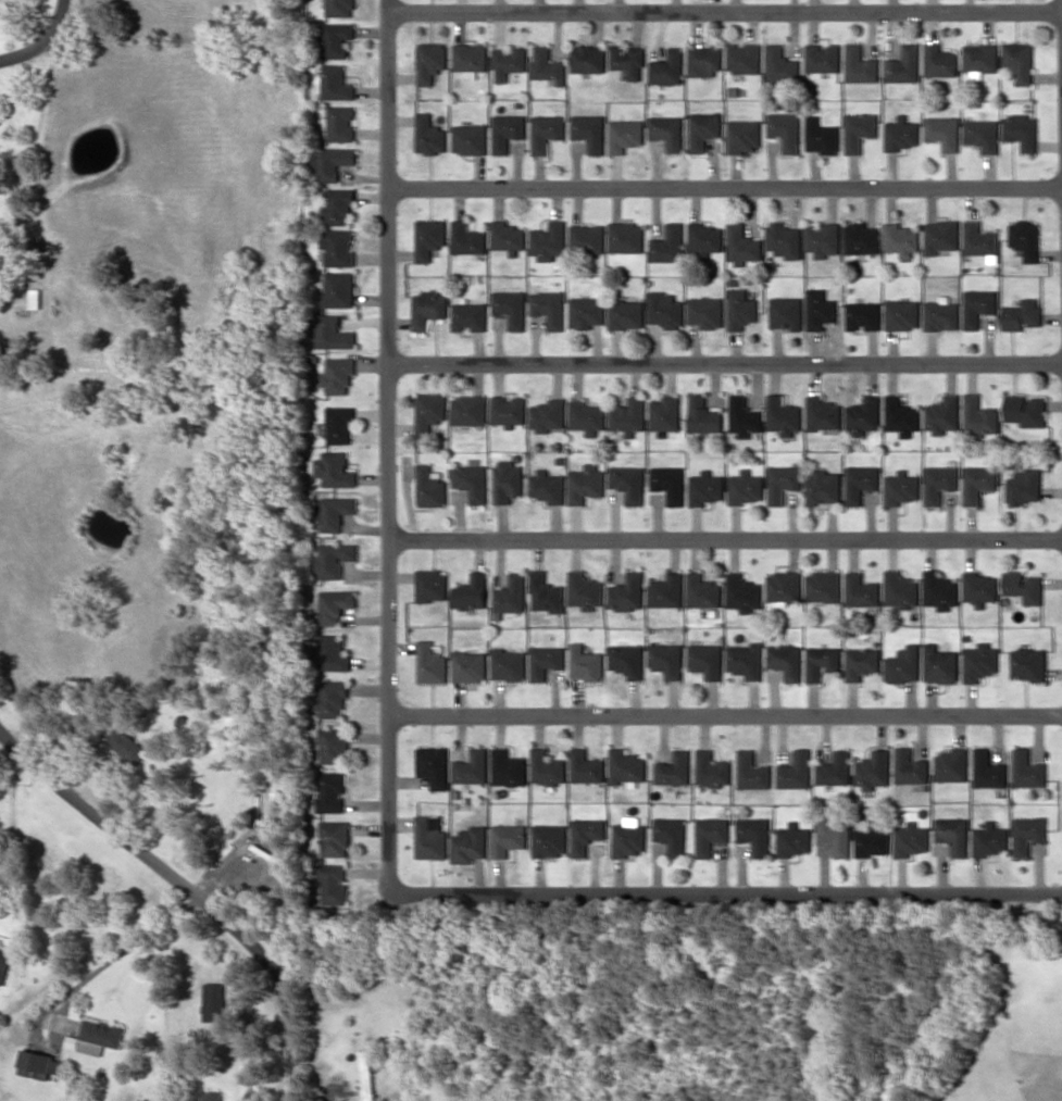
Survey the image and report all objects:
building: (339, 8)
road: (724, 11)
road: (1061, 26)
building: (336, 39)
road: (47, 42)
building: (586, 58)
building: (744, 58)
building: (823, 58)
building: (468, 59)
building: (979, 59)
building: (627, 60)
building: (703, 60)
building: (428, 61)
building: (939, 61)
building: (1019, 61)
building: (507, 62)
building: (782, 64)
building: (860, 64)
building: (903, 64)
building: (546, 65)
building: (666, 67)
building: (336, 83)
building: (340, 123)
building: (703, 129)
building: (785, 129)
building: (859, 129)
building: (505, 130)
building: (589, 130)
building: (667, 130)
building: (1021, 130)
building: (545, 132)
building: (942, 132)
building: (901, 133)
building: (982, 134)
building: (428, 135)
building: (625, 135)
building: (744, 135)
building: (821, 136)
building: (468, 138)
building: (330, 163)
road: (724, 187)
building: (338, 205)
building: (939, 236)
building: (507, 237)
building: (625, 237)
building: (428, 238)
building: (466, 238)
building: (704, 238)
building: (860, 238)
building: (978, 238)
building: (1025, 238)
building: (587, 239)
building: (783, 239)
building: (822, 239)
building: (900, 239)
building: (548, 240)
building: (741, 242)
building: (667, 243)
building: (339, 247)
building: (339, 289)
building: (977, 305)
building: (510, 308)
building: (549, 308)
building: (427, 309)
building: (740, 309)
building: (819, 309)
building: (665, 310)
building: (705, 311)
building: (586, 312)
building: (785, 312)
building: (626, 314)
building: (901, 314)
building: (940, 314)
building: (1022, 314)
building: (468, 315)
building: (862, 315)
building: (333, 333)
road: (725, 362)
building: (338, 375)
building: (508, 409)
building: (468, 410)
building: (1025, 410)
building: (429, 412)
building: (664, 413)
building: (822, 413)
building: (941, 414)
building: (548, 415)
building: (627, 415)
building: (702, 415)
building: (782, 415)
building: (862, 415)
building: (900, 415)
building: (977, 415)
building: (586, 416)
building: (744, 416)
building: (339, 424)
road: (388, 445)
building: (334, 470)
building: (508, 480)
building: (471, 481)
building: (860, 481)
building: (627, 483)
building: (669, 483)
building: (782, 483)
building: (938, 483)
building: (977, 483)
building: (585, 484)
building: (429, 487)
building: (547, 487)
building: (745, 487)
building: (823, 487)
building: (900, 487)
building: (1023, 487)
building: (704, 488)
building: (333, 512)
road: (725, 539)
building: (333, 559)
building: (430, 585)
building: (822, 586)
building: (1023, 586)
building: (784, 587)
building: (978, 588)
building: (900, 589)
building: (585, 590)
building: (702, 590)
building: (860, 590)
building: (939, 590)
building: (473, 591)
building: (666, 591)
building: (627, 592)
building: (742, 592)
building: (511, 593)
building: (546, 593)
building: (334, 605)
building: (332, 653)
building: (667, 659)
building: (627, 660)
building: (707, 660)
building: (745, 660)
building: (786, 660)
building: (546, 661)
building: (822, 662)
building: (861, 662)
building: (979, 662)
building: (430, 663)
building: (586, 663)
building: (508, 664)
building: (939, 664)
building: (1028, 664)
building: (468, 666)
building: (902, 666)
building: (332, 699)
road: (725, 712)
building: (126, 745)
building: (334, 746)
building: (951, 764)
building: (625, 765)
building: (433, 766)
building: (585, 766)
building: (910, 766)
building: (471, 767)
building: (507, 767)
building: (546, 767)
building: (674, 768)
building: (712, 768)
building: (835, 768)
building: (873, 770)
building: (988, 770)
building: (1027, 770)
building: (752, 771)
building: (796, 771)
building: (330, 792)
building: (586, 834)
building: (754, 834)
building: (835, 834)
building: (952, 834)
building: (1026, 834)
building: (671, 835)
building: (710, 835)
building: (428, 837)
building: (334, 838)
building: (507, 838)
building: (549, 839)
building: (628, 839)
building: (794, 839)
building: (910, 839)
building: (989, 839)
building: (872, 841)
building: (468, 844)
building: (332, 883)
road: (189, 887)
road: (725, 891)
building: (4, 963)
building: (213, 1001)
building: (99, 1036)
building: (38, 1064)
building: (367, 1084)
building: (74, 1085)
building: (211, 1096)

